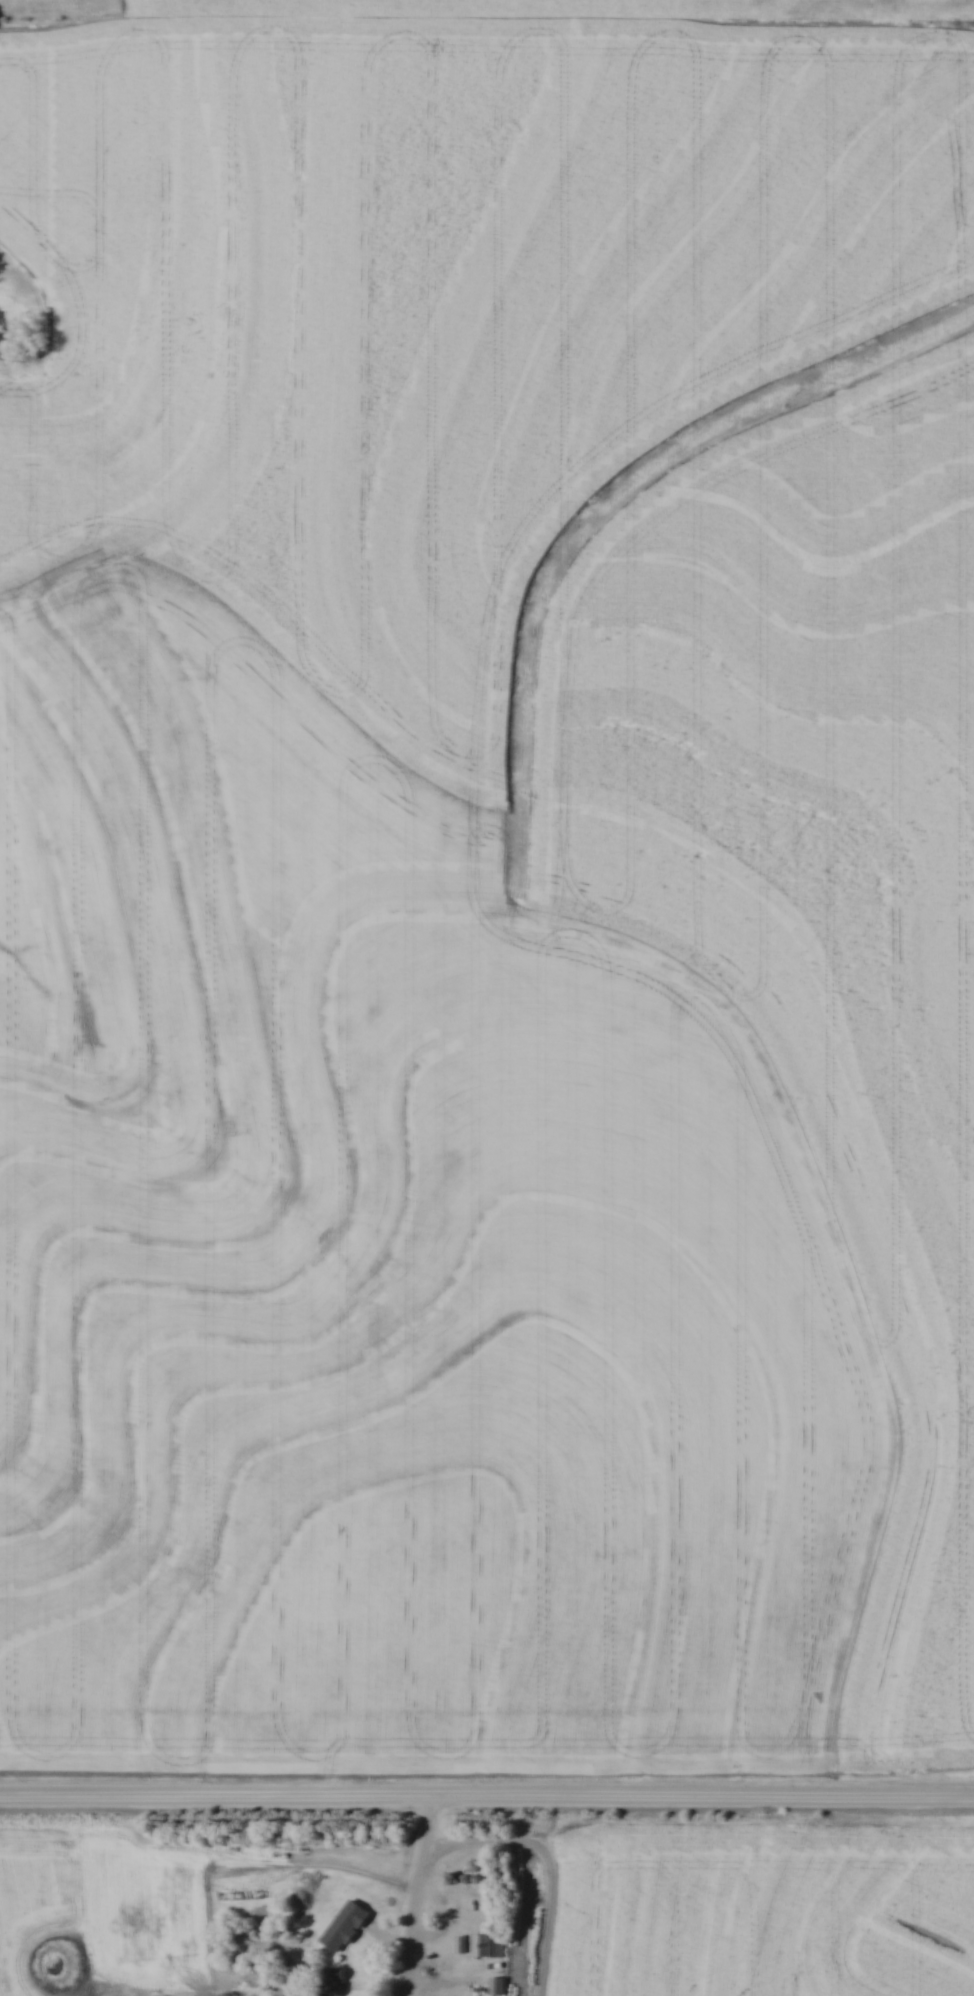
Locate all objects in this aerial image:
road: (486, 1800)
road: (422, 1898)
building: (487, 1945)
building: (334, 1979)
building: (498, 1986)

